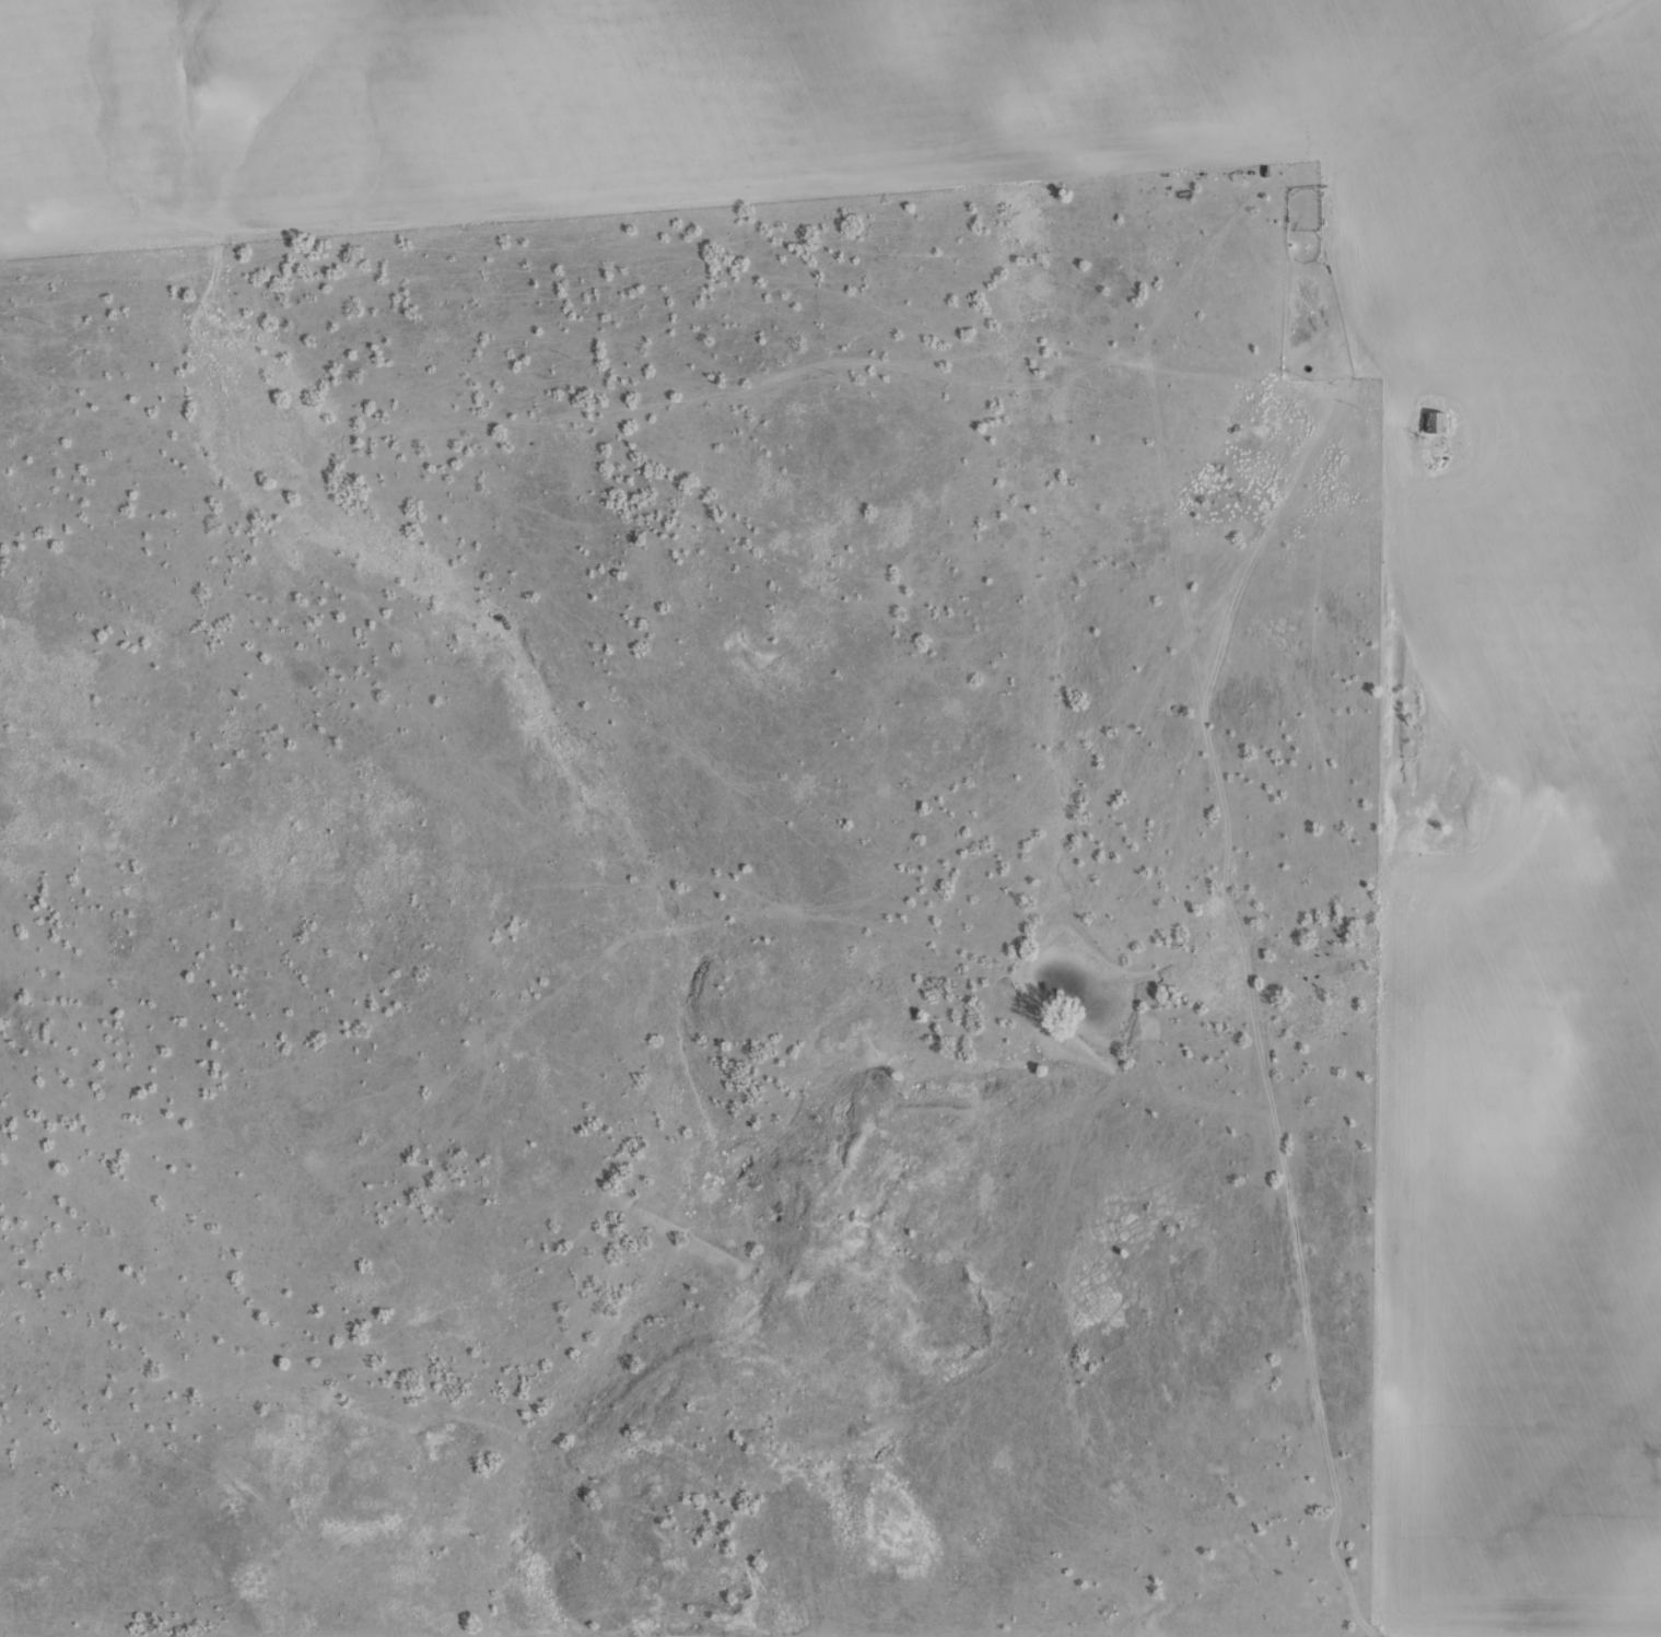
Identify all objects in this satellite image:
building: (1432, 424)
road: (1409, 947)

